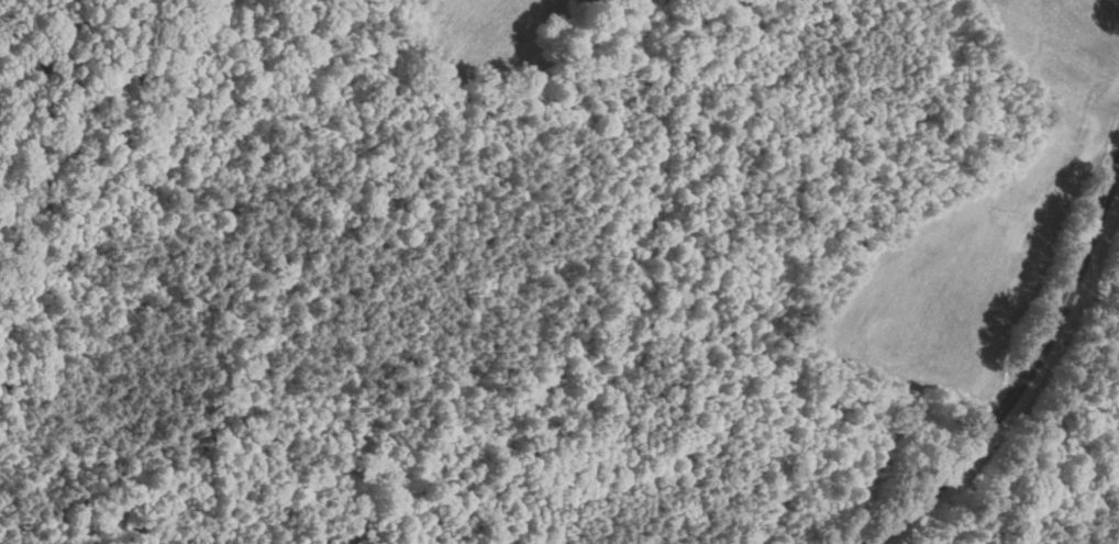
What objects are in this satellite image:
road: (1027, 373)

